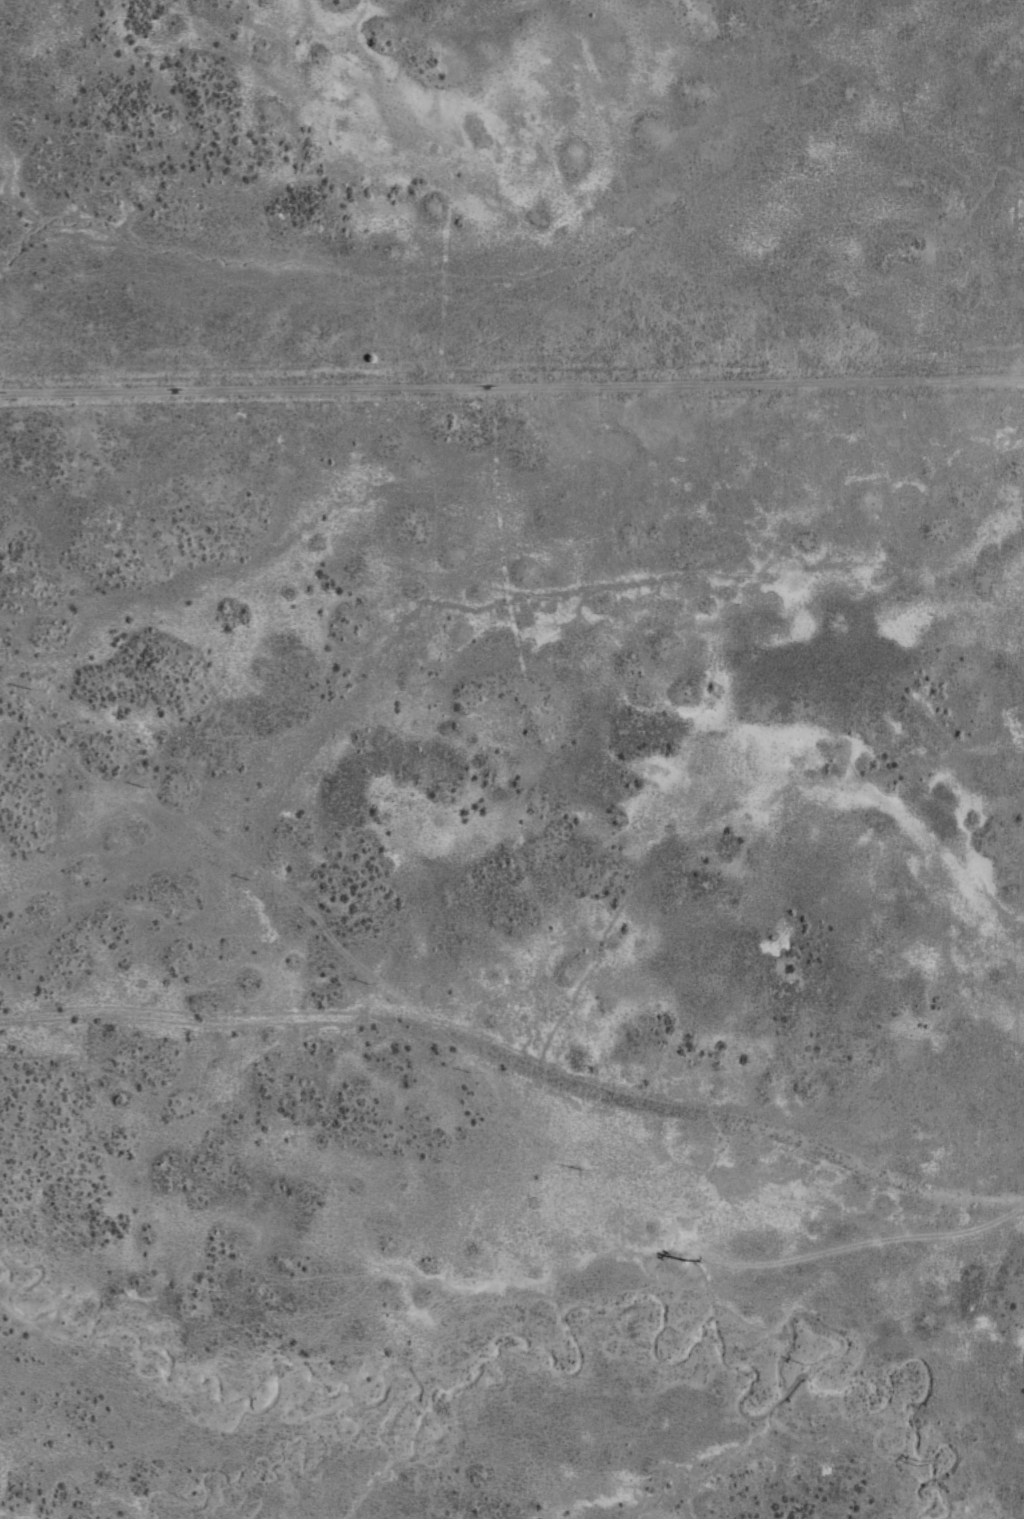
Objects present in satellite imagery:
road: (512, 375)
crop: (553, 760)

